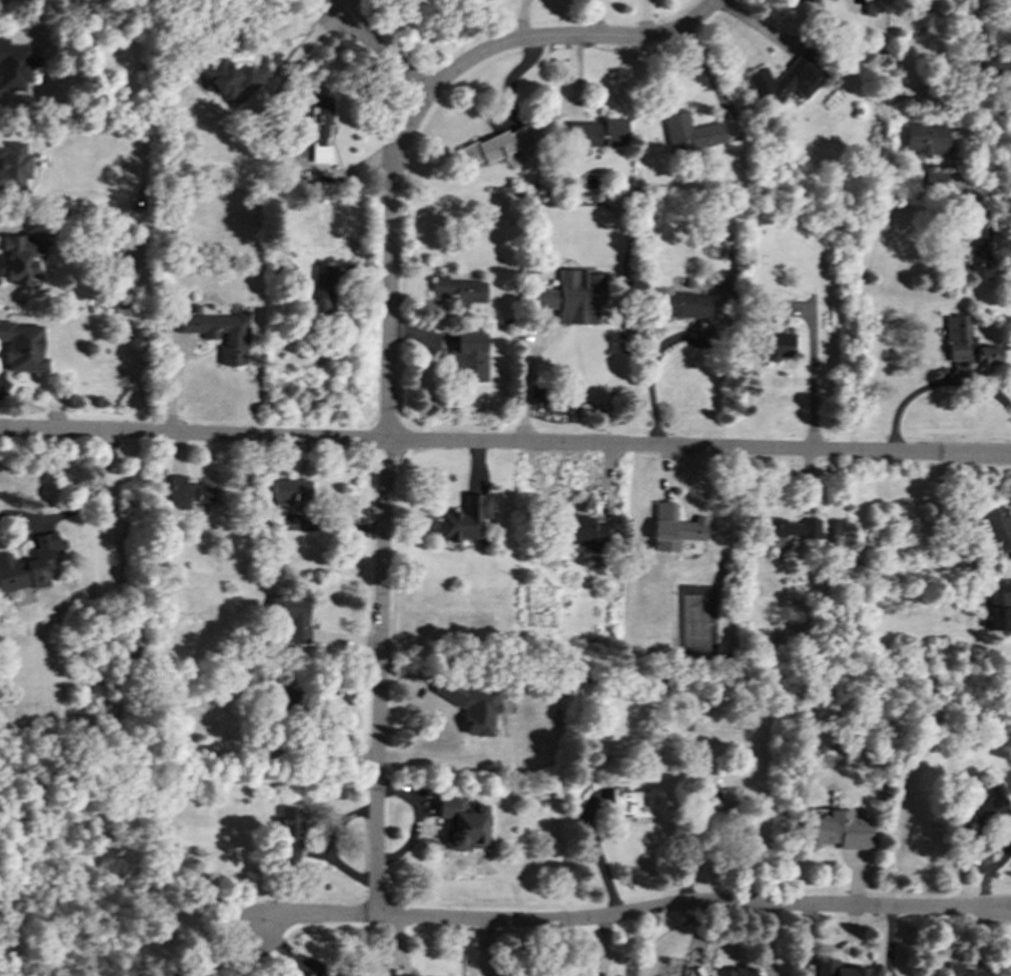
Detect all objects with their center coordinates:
road: (596, 0)
building: (809, 1)
road: (336, 6)
road: (317, 8)
road: (596, 19)
road: (521, 20)
road: (936, 45)
road: (300, 51)
road: (383, 52)
building: (15, 66)
building: (785, 79)
building: (230, 81)
building: (316, 129)
building: (688, 132)
building: (594, 134)
building: (925, 137)
building: (495, 145)
building: (13, 165)
building: (979, 249)
building: (22, 254)
building: (459, 288)
building: (320, 290)
building: (573, 296)
building: (685, 304)
building: (777, 307)
building: (235, 336)
road: (388, 344)
building: (773, 344)
building: (967, 344)
building: (23, 346)
building: (467, 356)
road: (652, 375)
road: (813, 378)
road: (529, 383)
road: (505, 443)
building: (288, 491)
building: (186, 493)
road: (80, 507)
building: (464, 518)
building: (996, 525)
building: (674, 527)
building: (790, 529)
building: (583, 532)
building: (30, 564)
building: (999, 606)
building: (292, 615)
building: (286, 701)
building: (471, 705)
building: (631, 803)
building: (717, 803)
building: (988, 805)
building: (464, 824)
building: (842, 829)
building: (290, 832)
road: (600, 854)
road: (637, 913)
road: (889, 942)
building: (836, 968)
building: (966, 970)
building: (741, 971)
building: (323, 975)
building: (403, 975)

